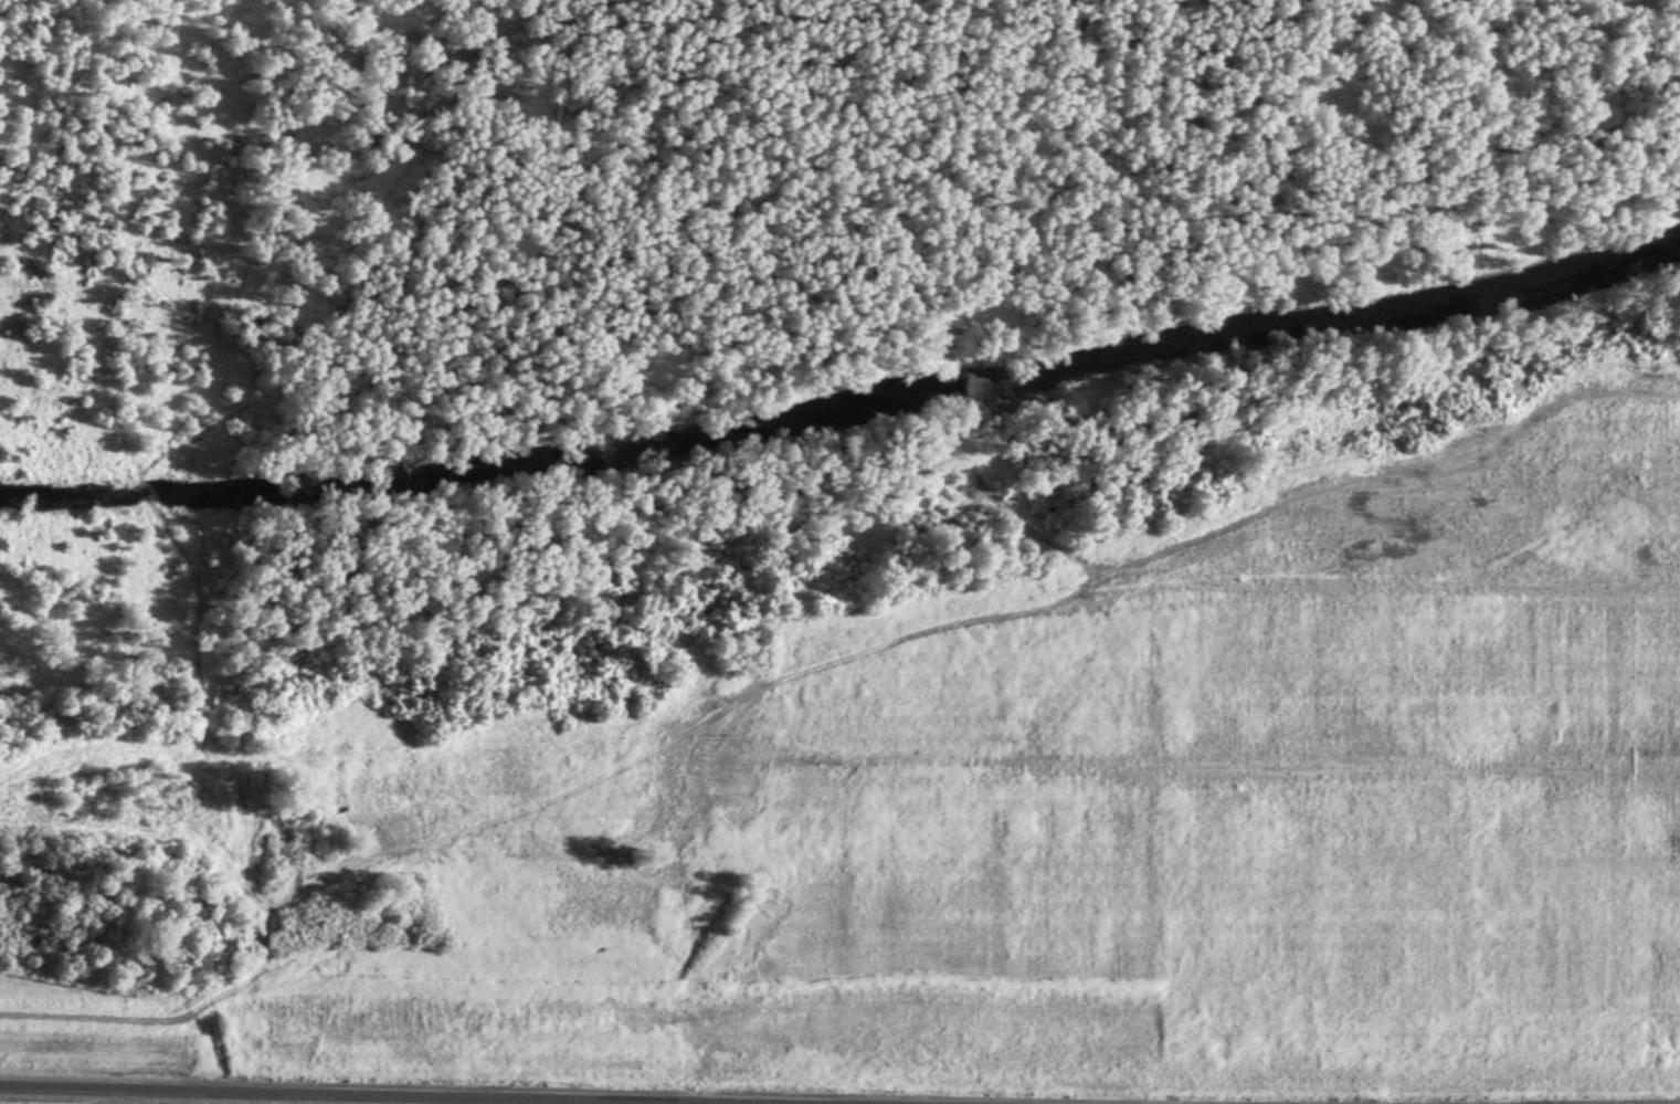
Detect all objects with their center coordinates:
crop: (99, 1035)
road: (613, 1092)

